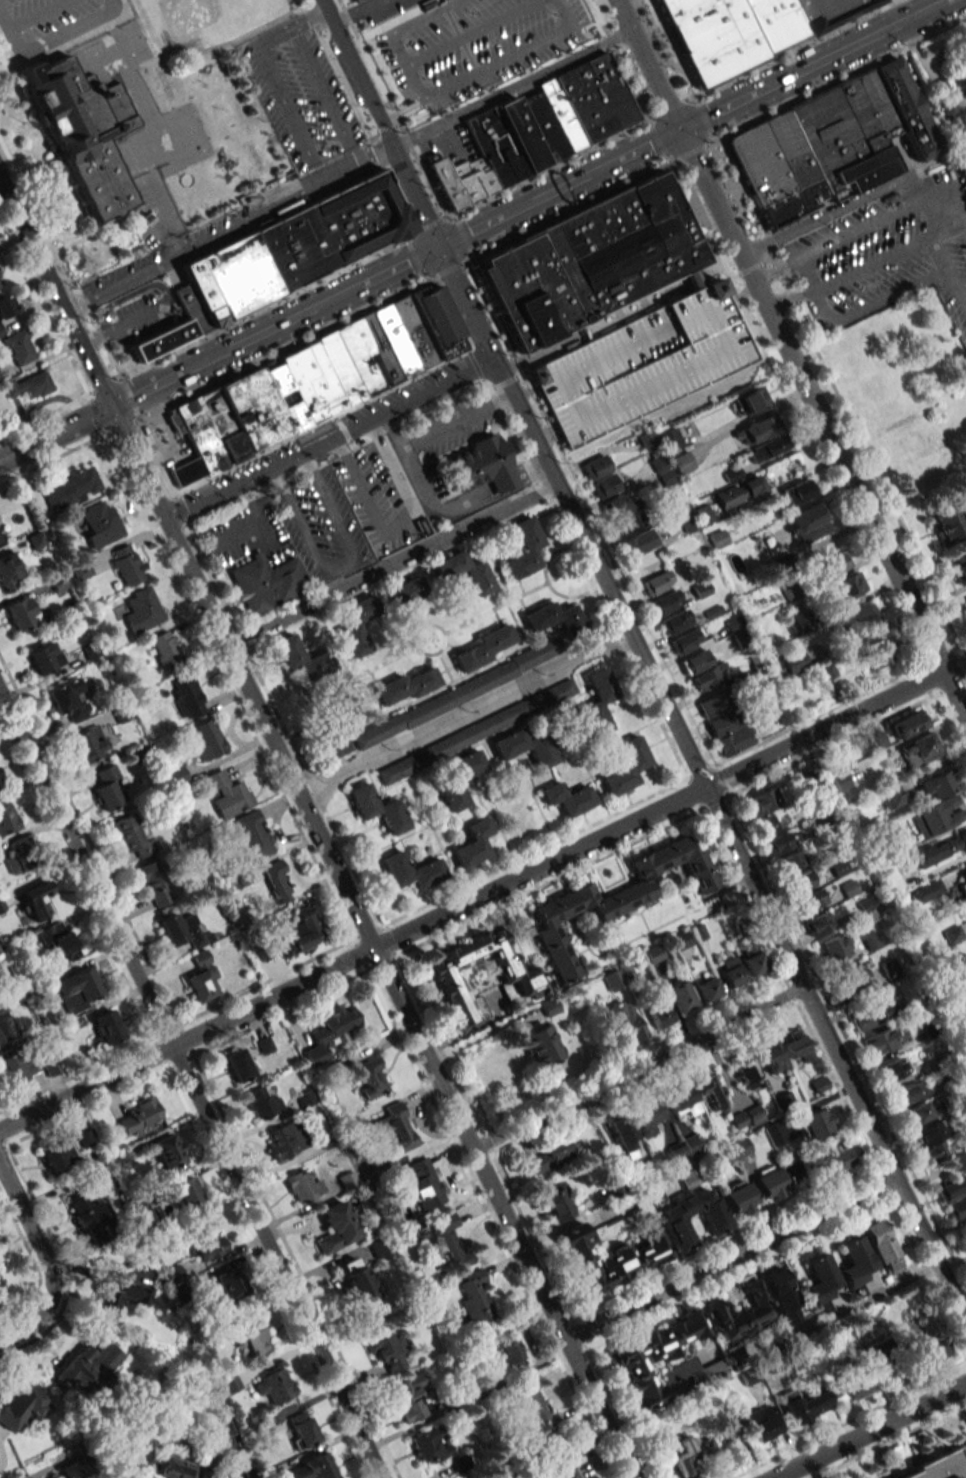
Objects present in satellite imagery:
building: (355, 0)
road: (296, 4)
building: (826, 11)
road: (36, 14)
road: (312, 16)
park: (195, 18)
road: (308, 19)
parking lot: (50, 22)
building: (774, 22)
building: (712, 36)
road: (51, 40)
road: (224, 43)
road: (63, 45)
parking lot: (476, 45)
building: (965, 64)
road: (346, 85)
road: (510, 89)
road: (325, 96)
road: (283, 99)
building: (877, 103)
building: (906, 110)
building: (539, 128)
building: (84, 130)
building: (842, 139)
building: (790, 149)
road: (379, 152)
building: (759, 164)
road: (152, 189)
road: (400, 197)
building: (792, 202)
road: (528, 203)
road: (844, 207)
road: (958, 208)
road: (875, 226)
road: (228, 230)
road: (949, 231)
building: (286, 254)
building: (589, 262)
road: (873, 264)
road: (776, 271)
road: (949, 273)
road: (807, 275)
building: (693, 279)
building: (0, 284)
road: (55, 292)
road: (890, 297)
road: (790, 300)
building: (5, 306)
road: (823, 307)
road: (620, 315)
building: (0, 331)
building: (17, 348)
road: (790, 359)
building: (641, 366)
parking garage: (641, 366)
building: (0, 378)
building: (28, 385)
building: (752, 400)
traffic signals: (109, 407)
road: (365, 418)
road: (457, 420)
building: (174, 422)
building: (755, 430)
road: (54, 433)
building: (660, 440)
building: (767, 448)
building: (682, 462)
building: (482, 465)
road: (414, 468)
building: (600, 476)
building: (70, 488)
building: (797, 491)
building: (739, 492)
road: (501, 494)
road: (203, 501)
road: (250, 504)
building: (617, 505)
building: (100, 523)
building: (626, 523)
building: (807, 524)
building: (946, 525)
road: (265, 536)
road: (223, 542)
building: (638, 542)
building: (524, 548)
building: (832, 563)
building: (127, 564)
road: (341, 566)
road: (392, 566)
building: (959, 570)
building: (8, 573)
building: (477, 575)
building: (266, 583)
building: (656, 583)
building: (848, 585)
building: (700, 589)
building: (792, 590)
building: (408, 591)
building: (665, 602)
building: (141, 610)
building: (22, 613)
building: (554, 618)
building: (860, 619)
building: (674, 622)
building: (357, 625)
building: (683, 642)
building: (483, 648)
building: (166, 651)
building: (874, 652)
building: (300, 657)
building: (44, 658)
road: (643, 661)
building: (694, 662)
building: (793, 662)
building: (822, 672)
building: (709, 677)
building: (406, 686)
building: (187, 696)
building: (69, 699)
building: (598, 700)
building: (712, 705)
building: (119, 714)
road: (465, 714)
building: (906, 724)
building: (336, 728)
building: (729, 732)
building: (207, 739)
building: (454, 741)
building: (88, 743)
building: (524, 747)
building: (920, 750)
building: (626, 766)
building: (176, 775)
building: (455, 779)
building: (0, 782)
building: (935, 784)
building: (108, 788)
building: (228, 794)
building: (890, 796)
building: (567, 798)
building: (761, 801)
building: (377, 809)
building: (936, 816)
building: (7, 819)
building: (768, 826)
building: (253, 835)
building: (133, 837)
building: (472, 844)
building: (778, 844)
building: (19, 856)
building: (792, 861)
building: (411, 871)
building: (964, 875)
building: (277, 879)
building: (802, 880)
building: (154, 883)
building: (925, 891)
road: (483, 894)
building: (614, 898)
building: (36, 899)
building: (811, 899)
building: (965, 904)
building: (817, 922)
building: (182, 930)
building: (298, 933)
building: (58, 940)
building: (679, 940)
building: (870, 940)
road: (371, 942)
building: (834, 947)
building: (0, 952)
building: (653, 954)
building: (753, 963)
building: (888, 967)
building: (730, 972)
building: (516, 975)
building: (202, 977)
building: (851, 978)
building: (608, 982)
building: (77, 989)
building: (707, 989)
building: (680, 996)
building: (549, 1007)
building: (658, 1013)
building: (875, 1014)
building: (4, 1026)
building: (106, 1027)
building: (329, 1032)
building: (879, 1042)
building: (797, 1046)
building: (542, 1047)
building: (771, 1057)
building: (238, 1065)
building: (13, 1067)
road: (637, 1068)
building: (892, 1068)
building: (746, 1071)
building: (372, 1078)
road: (191, 1085)
building: (711, 1093)
building: (909, 1093)
building: (680, 1099)
building: (261, 1103)
building: (915, 1114)
building: (753, 1115)
building: (139, 1117)
building: (645, 1117)
building: (737, 1120)
building: (815, 1122)
building: (398, 1127)
building: (623, 1133)
building: (774, 1133)
building: (327, 1138)
building: (285, 1140)
building: (929, 1141)
building: (691, 1144)
building: (734, 1150)
building: (166, 1151)
building: (551, 1154)
building: (58, 1156)
building: (118, 1159)
building: (959, 1161)
building: (834, 1162)
building: (687, 1179)
building: (769, 1182)
building: (423, 1185)
building: (302, 1186)
building: (951, 1189)
building: (186, 1195)
building: (738, 1198)
building: (555, 1201)
building: (956, 1209)
building: (90, 1219)
building: (715, 1223)
building: (336, 1227)
building: (443, 1241)
building: (207, 1243)
building: (378, 1246)
building: (881, 1246)
road: (729, 1258)
building: (607, 1259)
road: (46, 1260)
building: (855, 1260)
building: (172, 1276)
building: (821, 1281)
building: (355, 1282)
building: (228, 1283)
building: (782, 1296)
building: (119, 1299)
building: (475, 1299)
road: (866, 1299)
building: (740, 1313)
building: (253, 1338)
building: (385, 1349)
building: (502, 1350)
building: (930, 1350)
building: (661, 1361)
building: (87, 1367)
building: (272, 1385)
building: (859, 1385)
building: (228, 1386)
building: (407, 1398)
building: (21, 1405)
building: (808, 1405)
building: (528, 1407)
building: (762, 1424)
building: (731, 1427)
building: (302, 1430)
road: (869, 1430)
road: (581, 1444)
building: (429, 1447)
building: (690, 1455)
building: (554, 1458)
building: (939, 1466)
building: (178, 1468)
building: (313, 1468)
building: (73, 1469)

